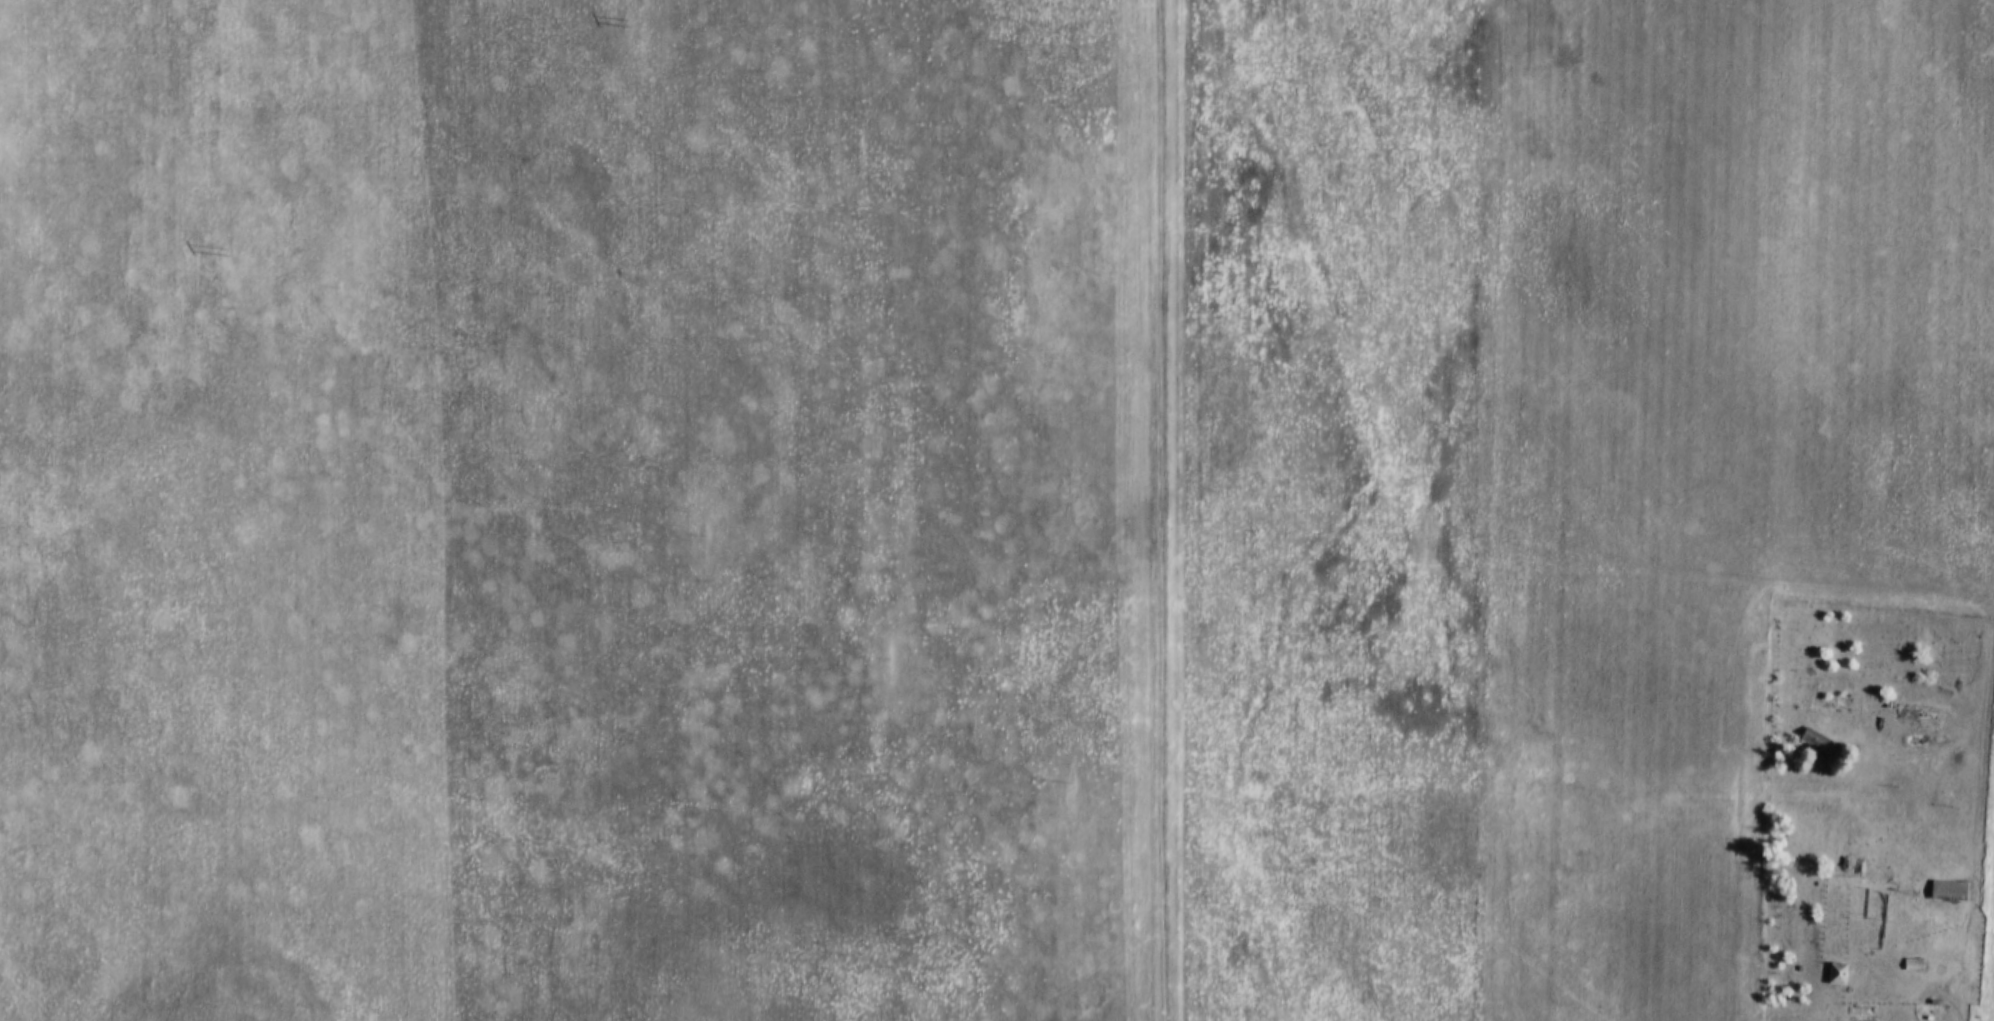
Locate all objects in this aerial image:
road: (1155, 510)
building: (1819, 744)
building: (1949, 892)
building: (1913, 965)
building: (1837, 975)

